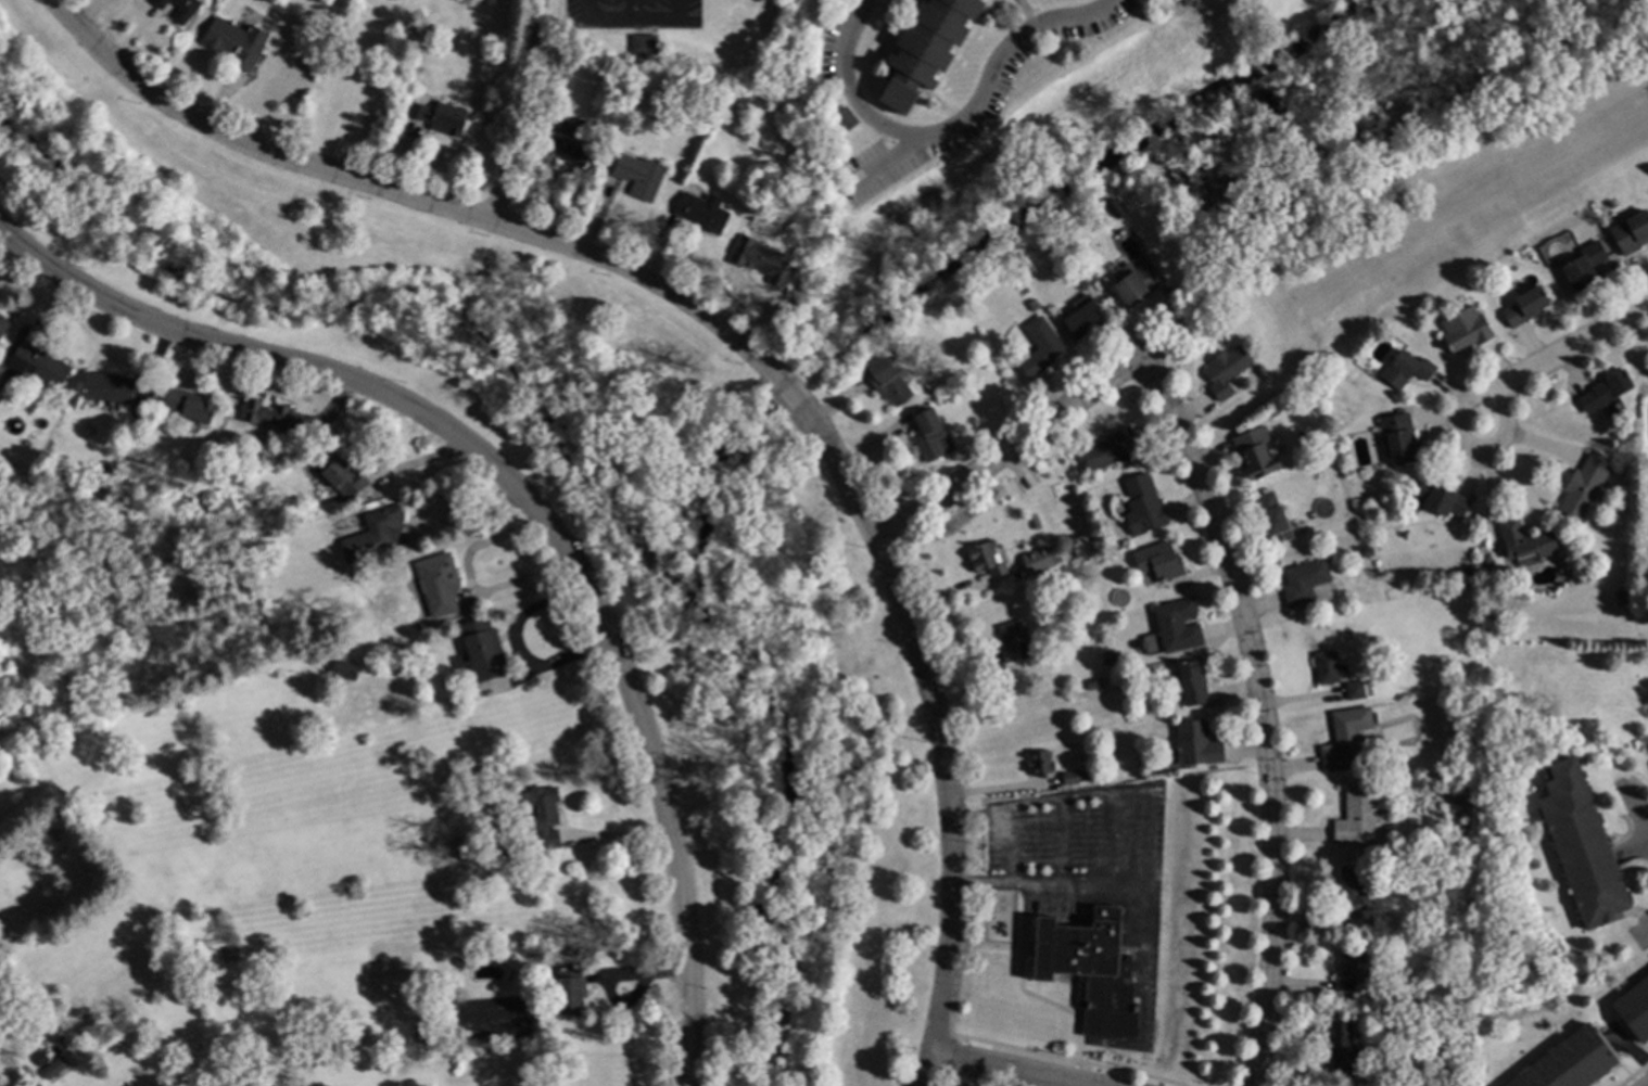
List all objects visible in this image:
building: (178, 9)
road: (633, 11)
road: (635, 22)
building: (234, 42)
building: (643, 46)
building: (926, 49)
building: (612, 82)
building: (728, 104)
building: (440, 117)
building: (844, 119)
road: (949, 127)
building: (562, 141)
road: (886, 158)
building: (596, 167)
building: (638, 176)
building: (790, 197)
building: (1114, 208)
building: (701, 213)
building: (1631, 232)
building: (760, 260)
building: (1583, 267)
building: (1082, 278)
building: (1137, 284)
building: (1524, 307)
building: (1083, 316)
building: (3, 324)
building: (1465, 330)
road: (1576, 344)
building: (1039, 348)
road: (748, 349)
building: (36, 367)
building: (1406, 370)
building: (1226, 371)
building: (886, 381)
building: (1, 382)
building: (927, 384)
building: (106, 387)
building: (1605, 391)
building: (940, 400)
building: (189, 406)
building: (1273, 409)
building: (270, 416)
river: (606, 429)
building: (929, 435)
building: (1397, 438)
building: (1339, 442)
road: (1466, 442)
road: (1010, 448)
building: (1111, 450)
building: (1255, 453)
building: (100, 472)
building: (335, 476)
building: (1583, 487)
building: (1440, 499)
building: (1142, 507)
road: (532, 510)
building: (203, 513)
road: (461, 518)
park: (581, 519)
building: (1272, 519)
building: (373, 535)
building: (1525, 544)
building: (986, 560)
building: (1158, 562)
building: (1048, 565)
building: (1485, 566)
building: (114, 567)
building: (1467, 572)
building: (1303, 582)
building: (438, 584)
building: (1620, 598)
building: (1176, 626)
building: (1013, 641)
building: (482, 651)
road: (519, 653)
building: (1108, 656)
building: (1327, 667)
building: (343, 669)
road: (1262, 681)
building: (1092, 683)
building: (1191, 685)
building: (1354, 690)
building: (1344, 740)
building: (1195, 745)
building: (1387, 754)
building: (1039, 764)
building: (1073, 777)
building: (1461, 802)
road: (1633, 810)
building: (541, 814)
building: (1356, 818)
road: (1113, 839)
building: (1581, 845)
building: (504, 852)
building: (1353, 884)
building: (1359, 920)
building: (458, 962)
building: (1090, 971)
building: (1352, 973)
building: (492, 987)
building: (570, 991)
building: (1406, 999)
building: (1634, 1009)
building: (10, 1015)
building: (1466, 1026)
building: (1494, 1044)
building: (1342, 1050)
building: (39, 1059)
building: (1568, 1062)
building: (173, 1063)
building: (54, 1068)
road: (1014, 1069)

